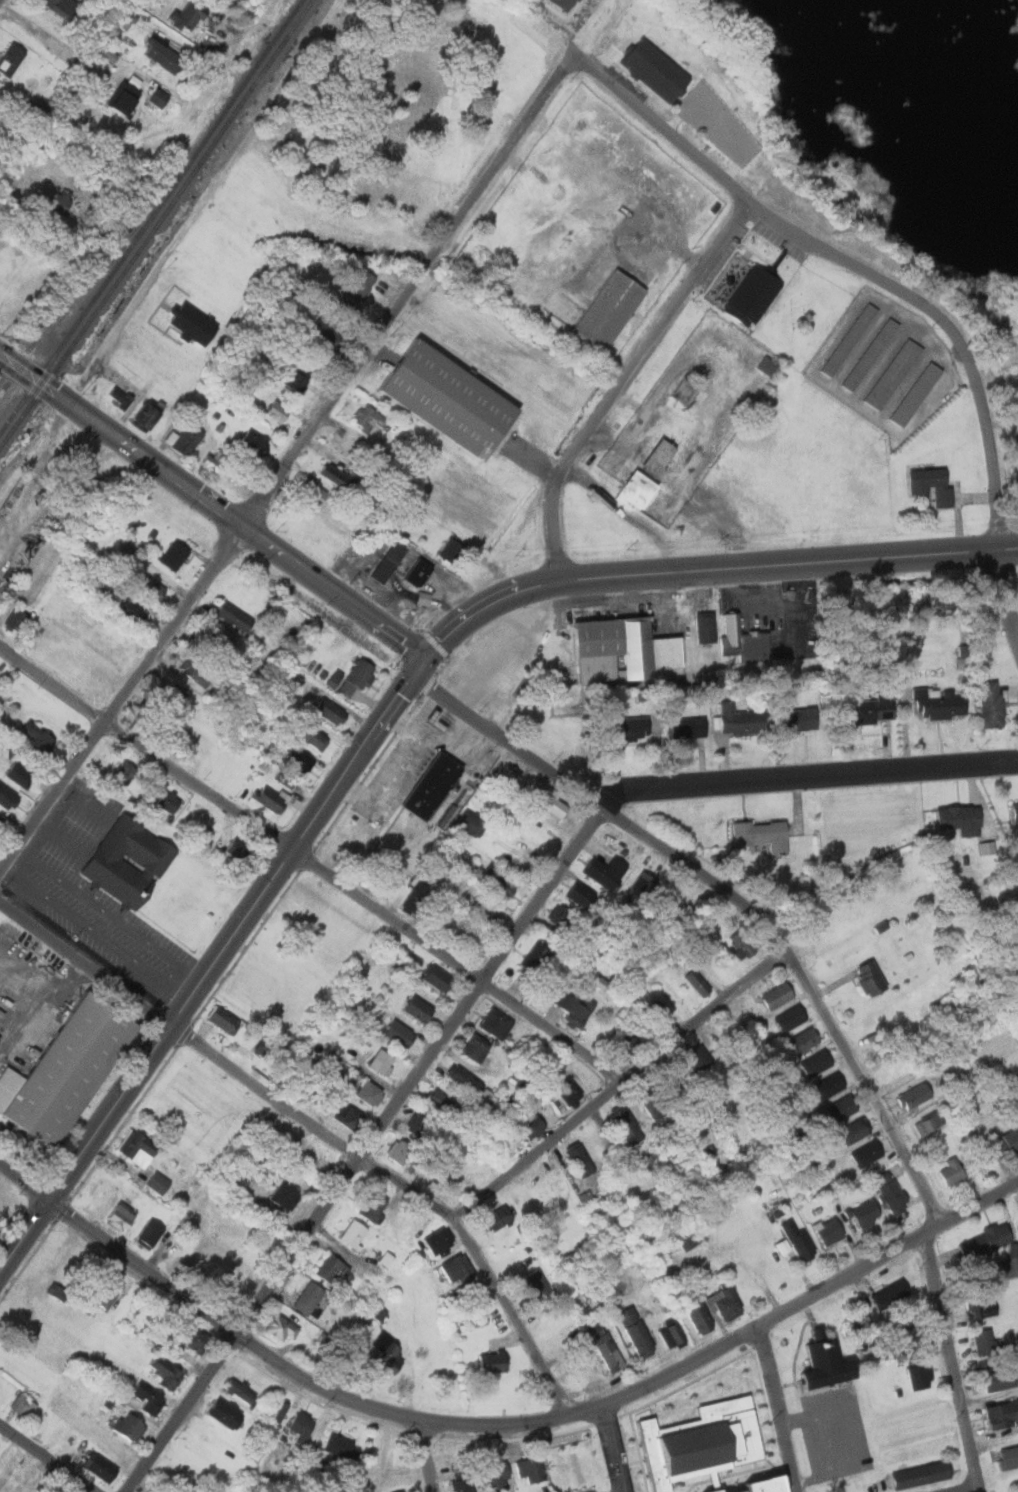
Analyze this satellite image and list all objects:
road: (2, 2)
building: (154, 2)
building: (568, 4)
building: (64, 6)
building: (190, 15)
building: (122, 23)
building: (106, 54)
building: (166, 56)
building: (11, 59)
road: (233, 59)
building: (658, 70)
building: (159, 97)
building: (126, 98)
road: (667, 129)
building: (62, 203)
road: (209, 203)
railway: (151, 215)
railway: (155, 222)
railway: (122, 244)
road: (870, 276)
building: (359, 290)
building: (755, 295)
building: (279, 303)
building: (611, 309)
building: (194, 324)
railway: (46, 331)
building: (328, 332)
building: (851, 339)
railway: (32, 352)
road: (995, 352)
building: (871, 354)
building: (765, 365)
road: (20, 370)
building: (895, 373)
building: (294, 379)
road: (625, 384)
building: (687, 390)
building: (917, 393)
building: (119, 396)
building: (451, 398)
building: (278, 411)
building: (149, 415)
building: (369, 417)
building: (186, 438)
building: (254, 442)
building: (669, 449)
road: (288, 459)
building: (215, 460)
building: (336, 478)
building: (934, 484)
building: (315, 493)
road: (996, 494)
building: (647, 496)
road: (628, 513)
road: (237, 521)
building: (451, 549)
building: (175, 554)
building: (391, 561)
road: (788, 562)
building: (419, 572)
building: (154, 588)
building: (420, 597)
road: (484, 606)
building: (134, 609)
building: (235, 616)
building: (18, 619)
building: (707, 627)
building: (746, 640)
building: (212, 641)
building: (625, 649)
traffic signals: (429, 665)
building: (199, 669)
building: (362, 674)
traffic signals: (418, 676)
building: (331, 677)
road: (52, 682)
building: (173, 693)
building: (939, 703)
building: (992, 703)
building: (872, 709)
building: (331, 710)
building: (802, 718)
building: (744, 719)
building: (163, 727)
building: (641, 727)
building: (688, 727)
building: (314, 736)
building: (38, 737)
building: (300, 761)
building: (125, 772)
building: (18, 774)
building: (508, 776)
building: (285, 777)
building: (433, 785)
building: (6, 796)
building: (271, 798)
building: (168, 800)
building: (554, 808)
building: (1016, 810)
building: (960, 817)
building: (2, 823)
building: (471, 823)
building: (762, 835)
building: (984, 847)
building: (238, 850)
building: (128, 861)
building: (605, 871)
building: (496, 880)
building: (643, 887)
building: (580, 895)
building: (414, 897)
road: (734, 899)
road: (366, 900)
building: (484, 911)
building: (558, 916)
building: (467, 936)
building: (739, 945)
building: (534, 961)
road: (214, 971)
road: (483, 974)
building: (438, 978)
building: (870, 978)
building: (700, 981)
building: (777, 995)
building: (574, 1008)
building: (420, 1009)
building: (656, 1011)
building: (219, 1018)
building: (789, 1018)
building: (497, 1023)
building: (401, 1034)
building: (803, 1040)
building: (628, 1044)
building: (478, 1048)
building: (697, 1059)
building: (383, 1062)
building: (816, 1062)
building: (67, 1070)
building: (472, 1083)
building: (828, 1085)
road: (621, 1087)
building: (565, 1090)
building: (371, 1093)
building: (913, 1095)
building: (443, 1101)
building: (651, 1102)
building: (841, 1107)
building: (349, 1116)
building: (927, 1122)
road: (319, 1125)
building: (420, 1125)
building: (527, 1125)
building: (628, 1125)
building: (854, 1130)
building: (1004, 1142)
building: (132, 1148)
building: (400, 1151)
building: (867, 1153)
building: (580, 1160)
building: (950, 1171)
building: (241, 1176)
building: (154, 1181)
building: (445, 1183)
building: (546, 1190)
building: (891, 1191)
building: (284, 1195)
building: (374, 1206)
building: (867, 1213)
building: (118, 1215)
building: (500, 1217)
building: (829, 1231)
building: (353, 1232)
building: (146, 1233)
building: (985, 1240)
building: (440, 1241)
building: (689, 1241)
building: (798, 1241)
building: (780, 1245)
building: (384, 1259)
building: (1008, 1263)
building: (334, 1269)
building: (455, 1269)
building: (538, 1283)
building: (57, 1291)
building: (104, 1292)
building: (465, 1293)
building: (891, 1293)
building: (310, 1297)
building: (725, 1304)
building: (980, 1306)
building: (703, 1317)
building: (474, 1321)
building: (282, 1327)
building: (639, 1331)
building: (185, 1335)
building: (673, 1335)
building: (984, 1340)
building: (904, 1341)
building: (608, 1346)
building: (389, 1353)
building: (496, 1361)
road: (954, 1362)
building: (831, 1363)
building: (167, 1371)
building: (921, 1375)
building: (1000, 1379)
building: (237, 1389)
building: (149, 1398)
building: (23, 1404)
road: (781, 1407)
building: (227, 1411)
building: (280, 1411)
building: (1003, 1413)
building: (304, 1424)
road: (500, 1424)
building: (131, 1426)
road: (849, 1437)
road: (823, 1443)
building: (342, 1444)
building: (702, 1444)
road: (617, 1448)
road: (427, 1454)
building: (1010, 1455)
road: (46, 1458)
building: (101, 1466)
building: (534, 1468)
building: (924, 1473)
building: (500, 1475)
building: (465, 1480)
building: (768, 1487)
road: (961, 1487)
building: (396, 1491)
building: (401, 1491)

